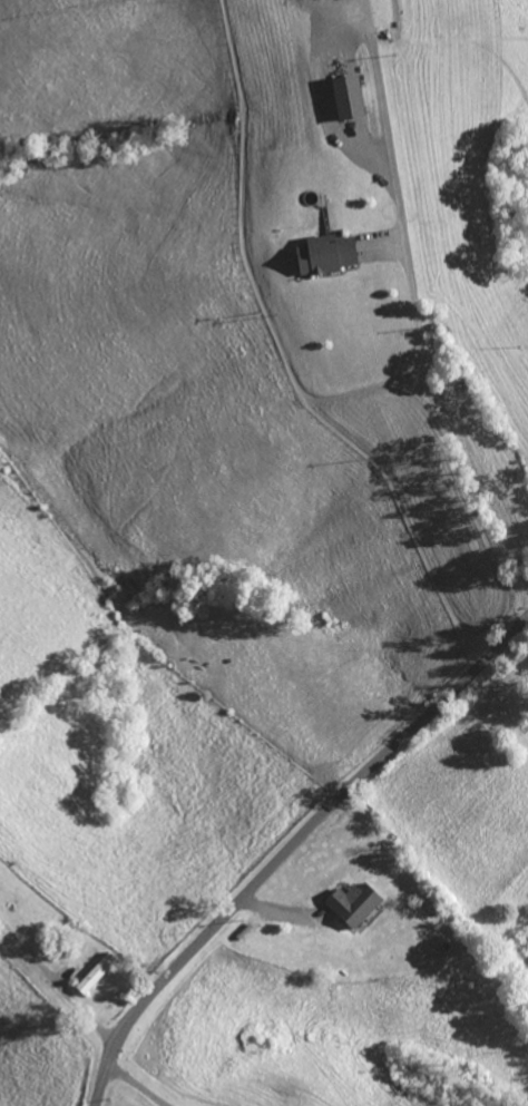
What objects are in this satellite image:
building: (342, 98)
building: (319, 255)
road: (415, 327)
road: (289, 848)
building: (349, 903)
building: (92, 972)
road: (57, 981)
road: (146, 1081)

